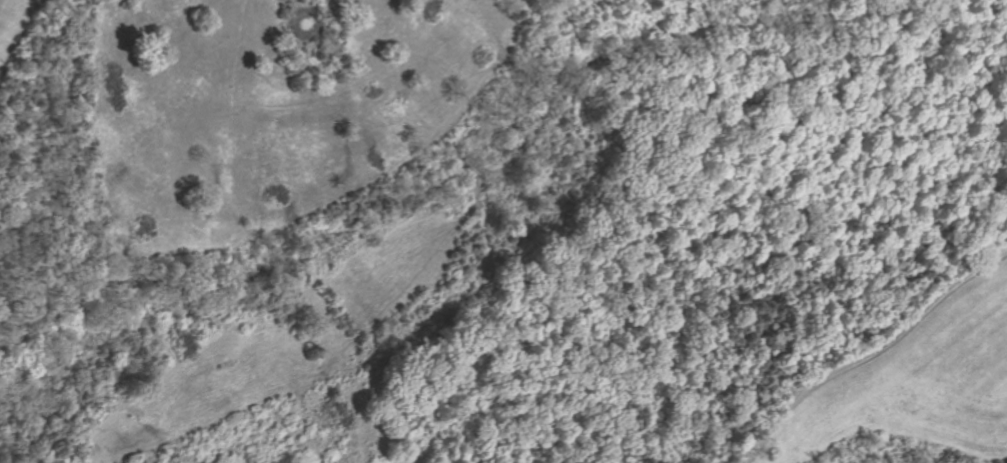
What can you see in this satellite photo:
road: (871, 355)

